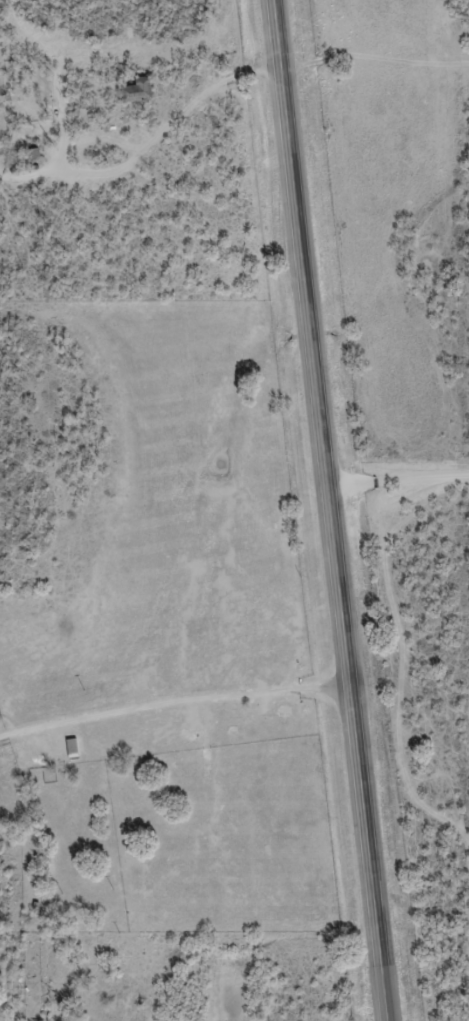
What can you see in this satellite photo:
road: (377, 60)
building: (131, 96)
road: (333, 510)
building: (72, 750)
road: (104, 962)

